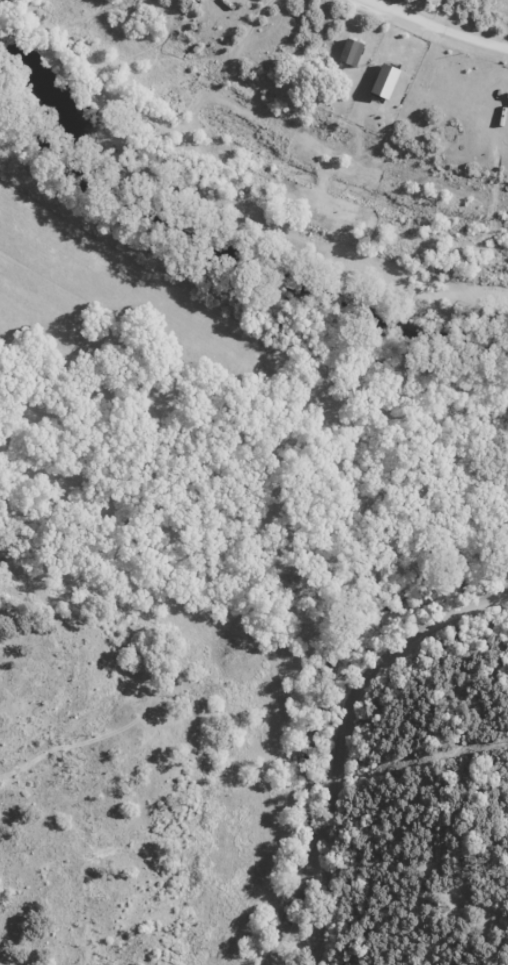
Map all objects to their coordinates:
road: (449, 23)
building: (347, 52)
building: (423, 82)
building: (506, 99)
river: (228, 239)
road: (349, 744)

